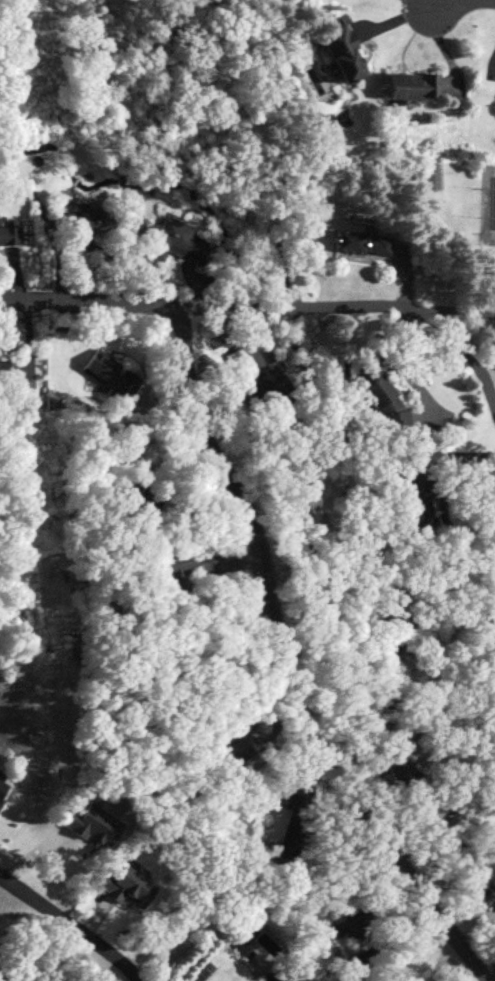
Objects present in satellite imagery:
road: (424, 4)
road: (446, 4)
building: (338, 54)
park: (17, 69)
park: (17, 69)
building: (406, 86)
building: (430, 176)
building: (78, 222)
building: (7, 235)
building: (172, 242)
building: (362, 243)
road: (90, 248)
road: (271, 305)
road: (459, 308)
road: (409, 365)
building: (97, 367)
building: (2, 371)
road: (490, 375)
building: (257, 378)
building: (126, 388)
building: (381, 399)
building: (134, 497)
building: (414, 502)
road: (440, 565)
building: (421, 634)
road: (280, 669)
building: (232, 742)
building: (396, 773)
building: (291, 837)
building: (492, 891)
road: (72, 925)
building: (348, 926)
building: (493, 930)
building: (347, 969)
building: (276, 974)

